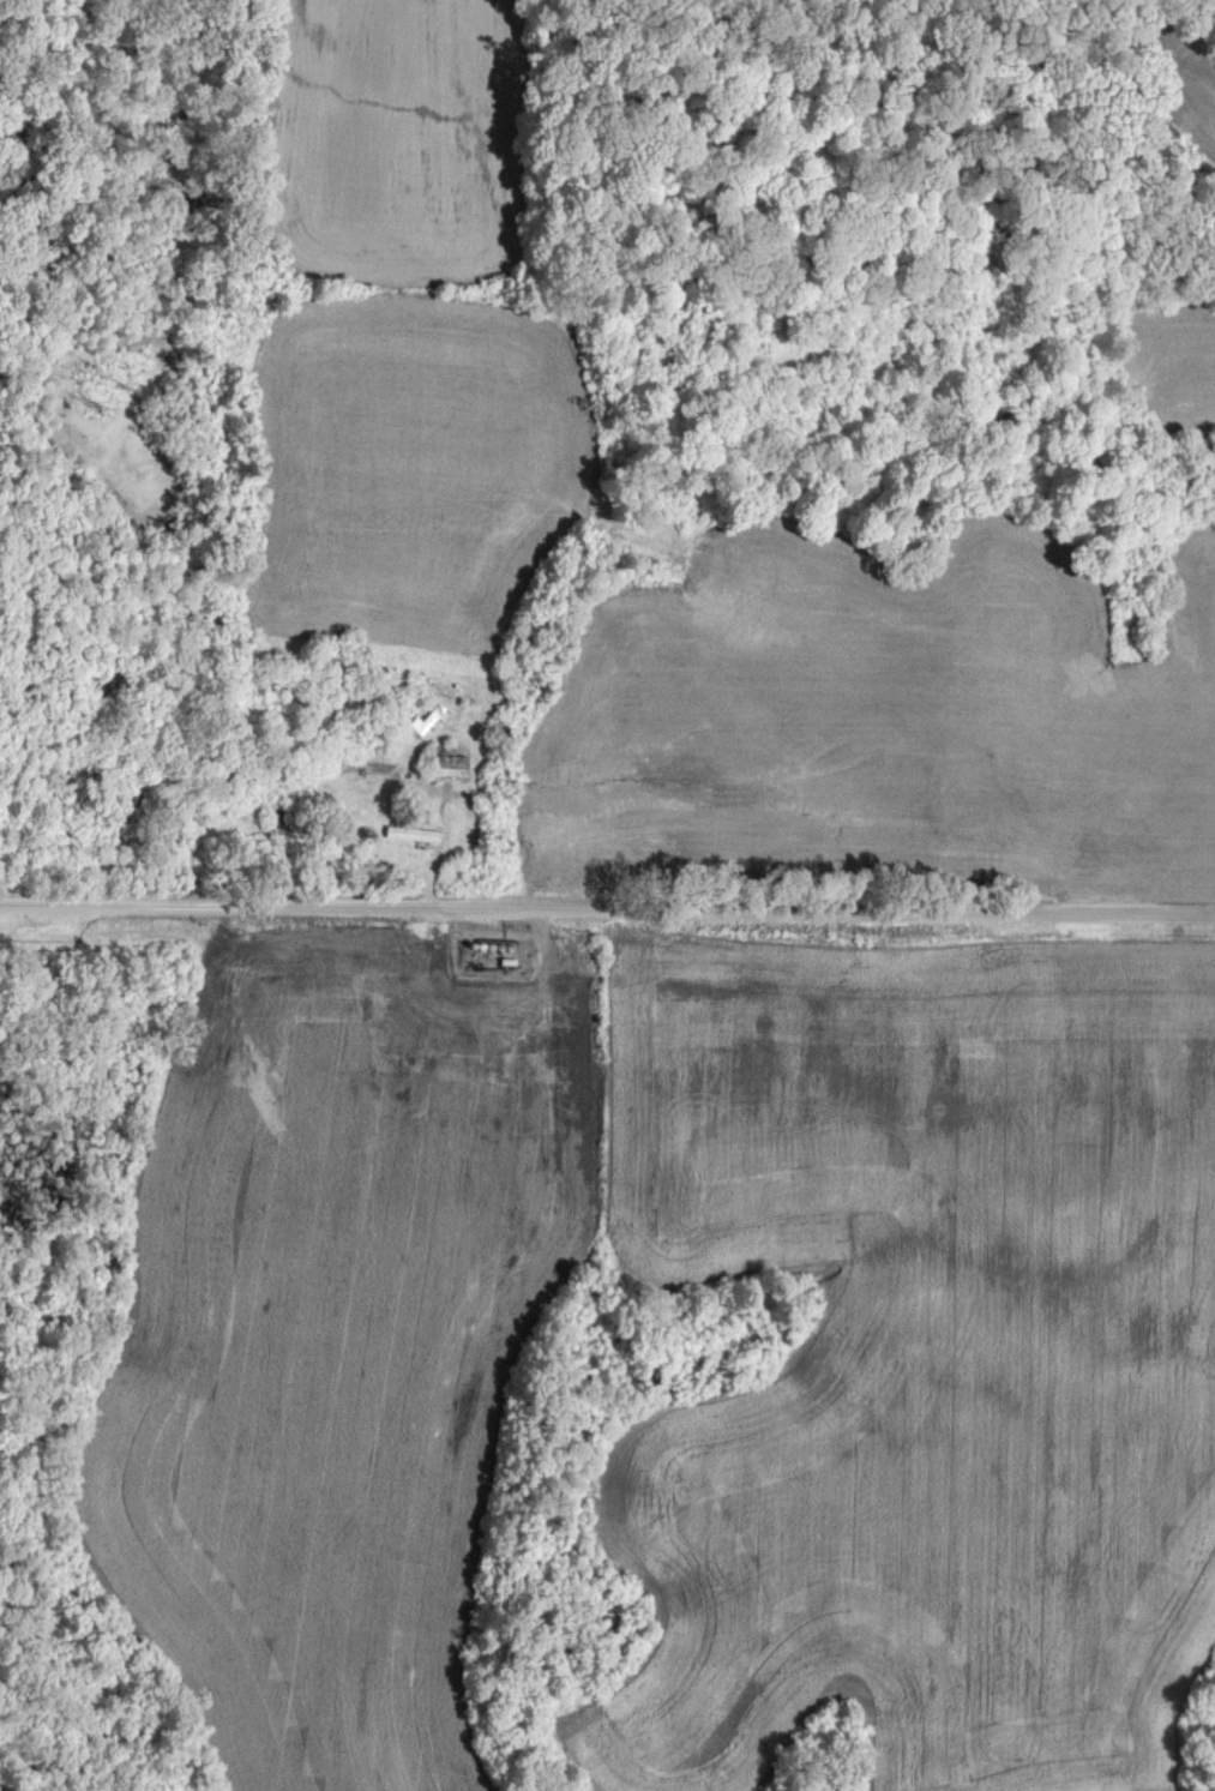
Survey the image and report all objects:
building: (428, 725)
building: (446, 773)
road: (373, 872)
road: (607, 903)

